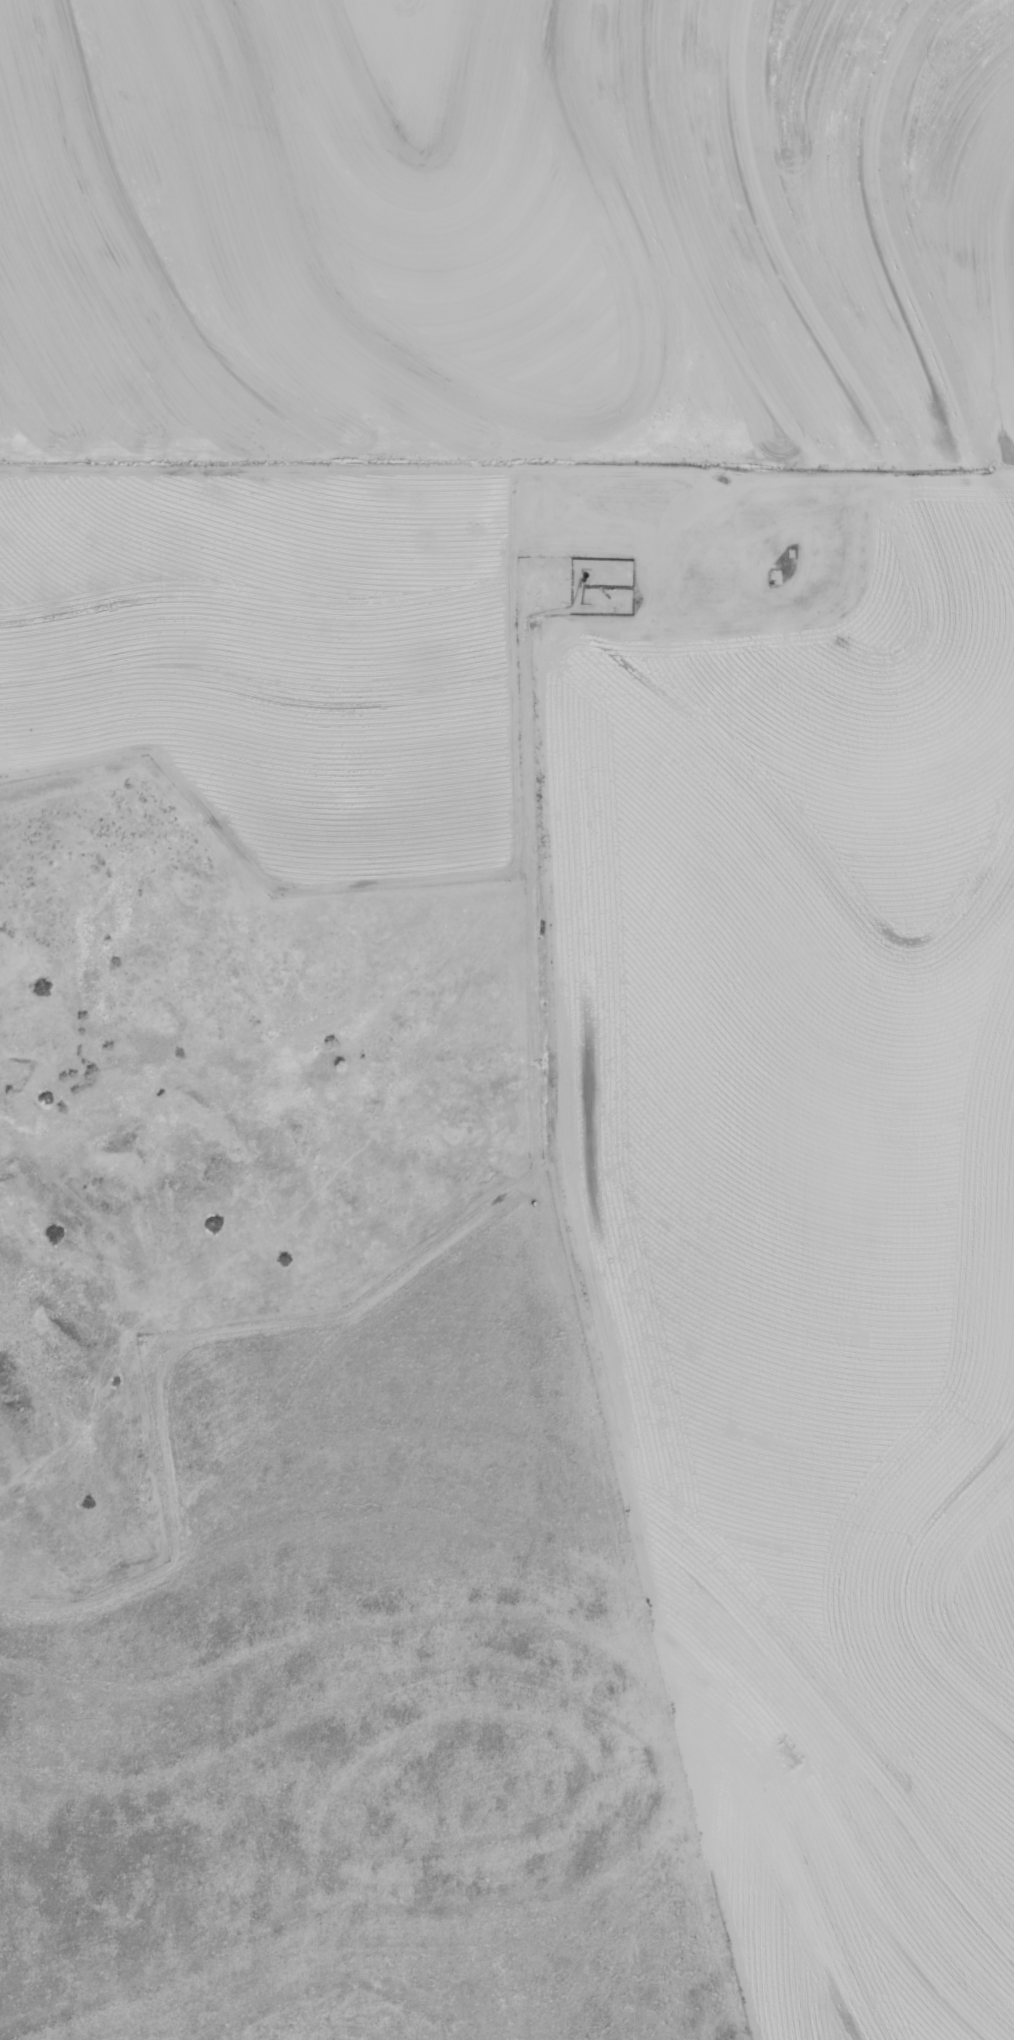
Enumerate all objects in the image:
road: (850, 576)

